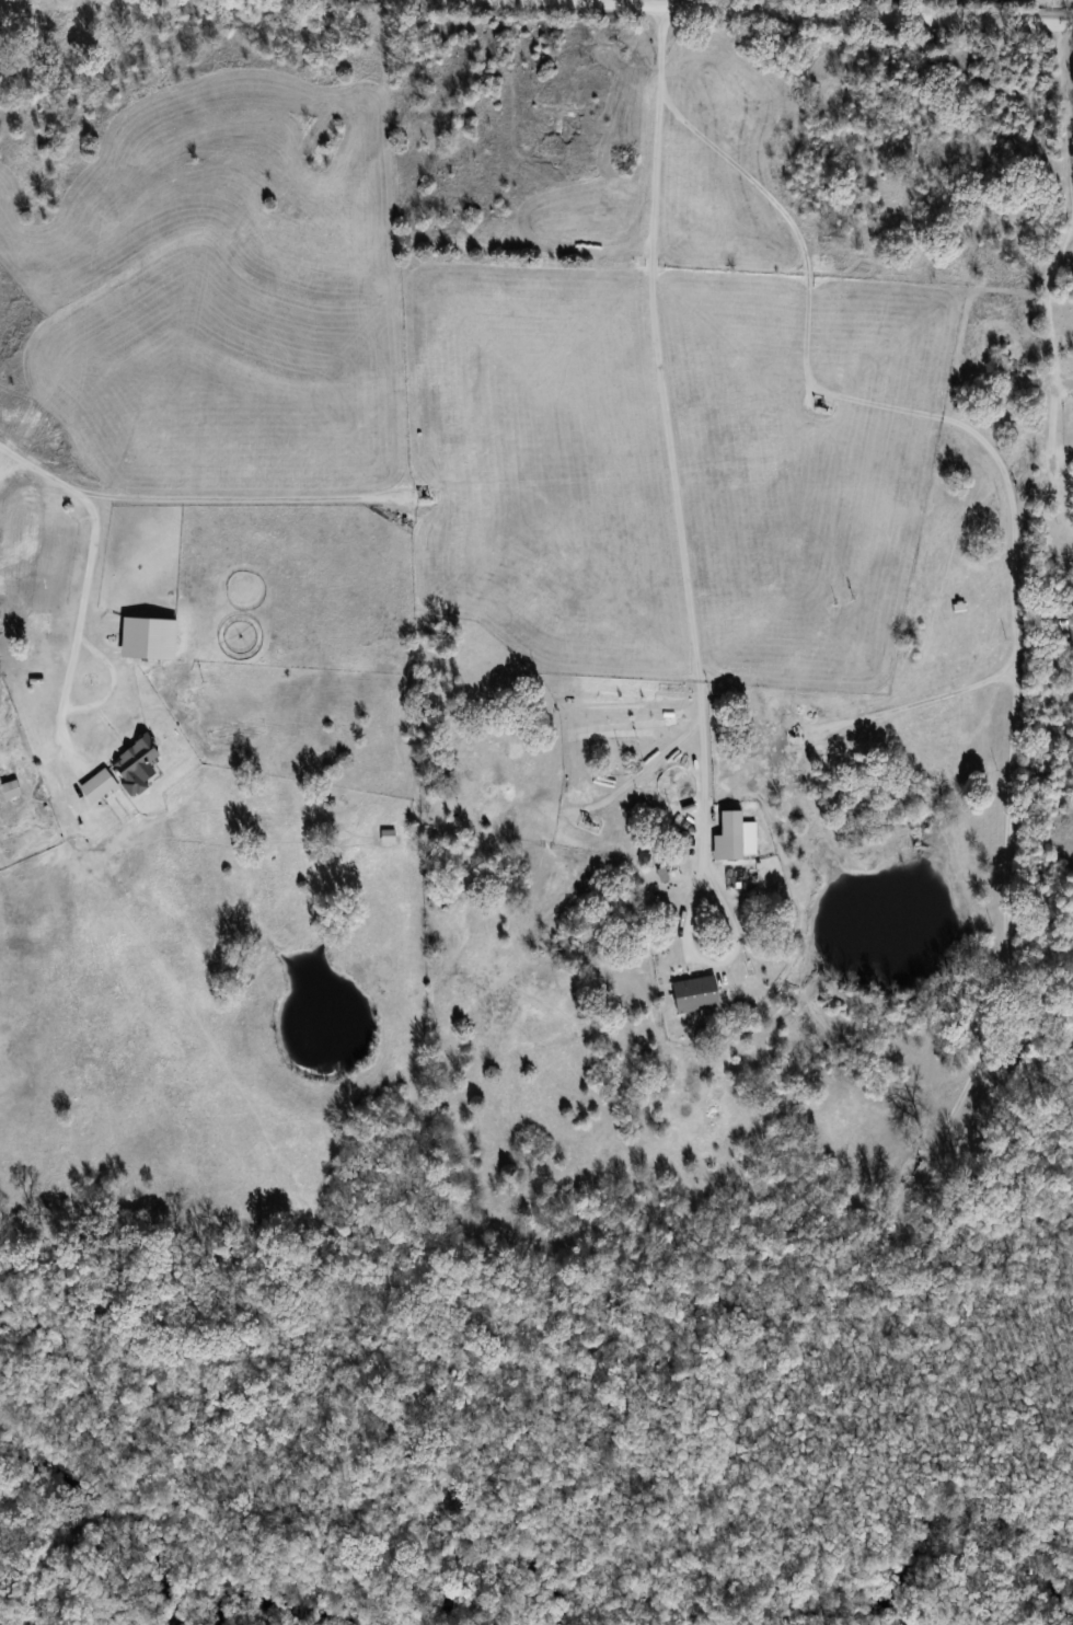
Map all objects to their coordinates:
road: (814, 14)
road: (1069, 107)
road: (660, 338)
road: (1054, 370)
road: (89, 579)
building: (1071, 650)
building: (132, 758)
building: (9, 790)
building: (693, 995)

